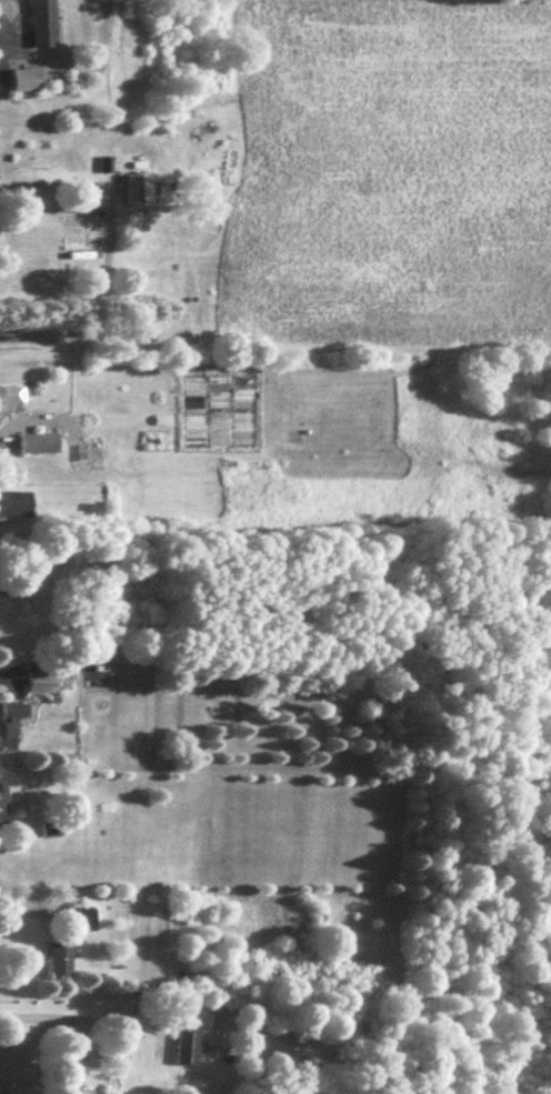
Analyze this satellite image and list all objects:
building: (36, 26)
building: (21, 84)
building: (132, 194)
road: (104, 253)
building: (7, 402)
building: (33, 448)
building: (83, 462)
building: (13, 509)
road: (10, 675)
building: (36, 687)
building: (9, 729)
building: (2, 811)
road: (22, 914)
building: (76, 924)
building: (56, 964)
road: (72, 1021)
building: (184, 1047)
building: (2, 1084)
building: (70, 1093)

